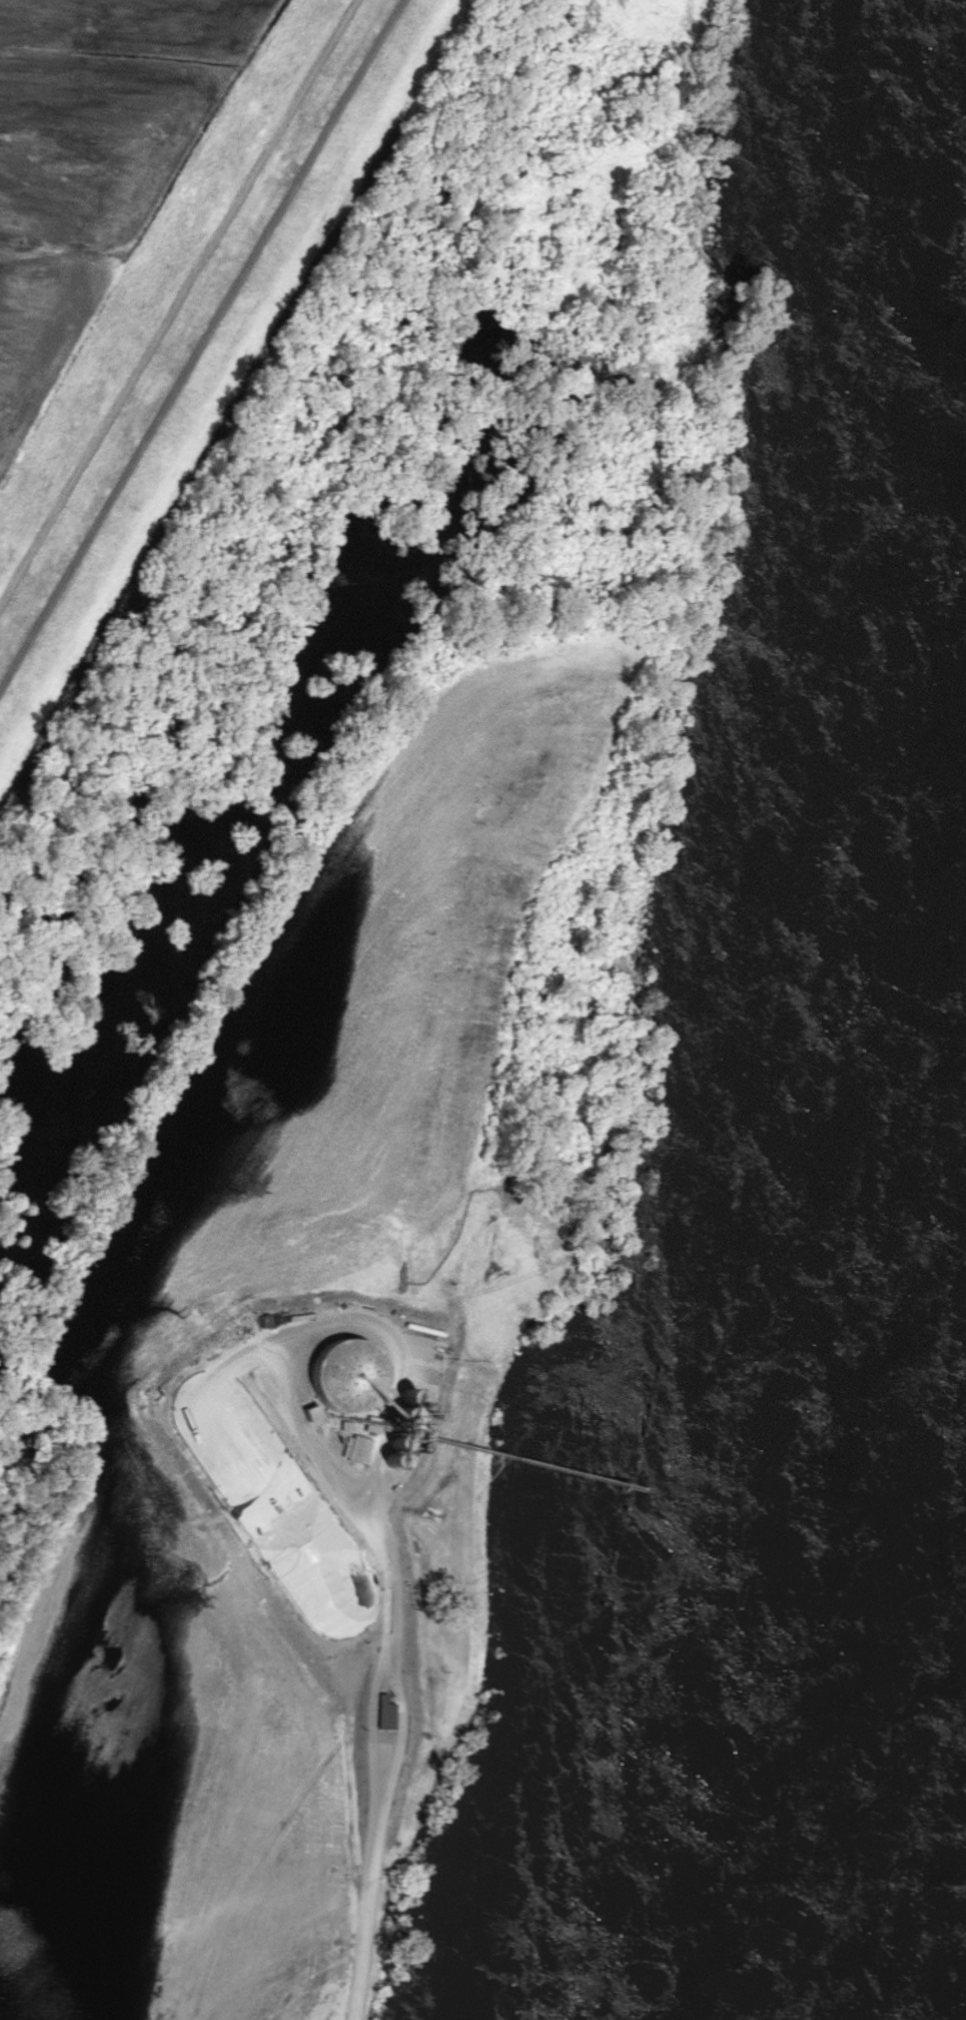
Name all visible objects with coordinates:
road: (180, 308)
road: (202, 346)
silo: (351, 1376)
road: (395, 1588)
building: (389, 1712)
road: (375, 1728)

